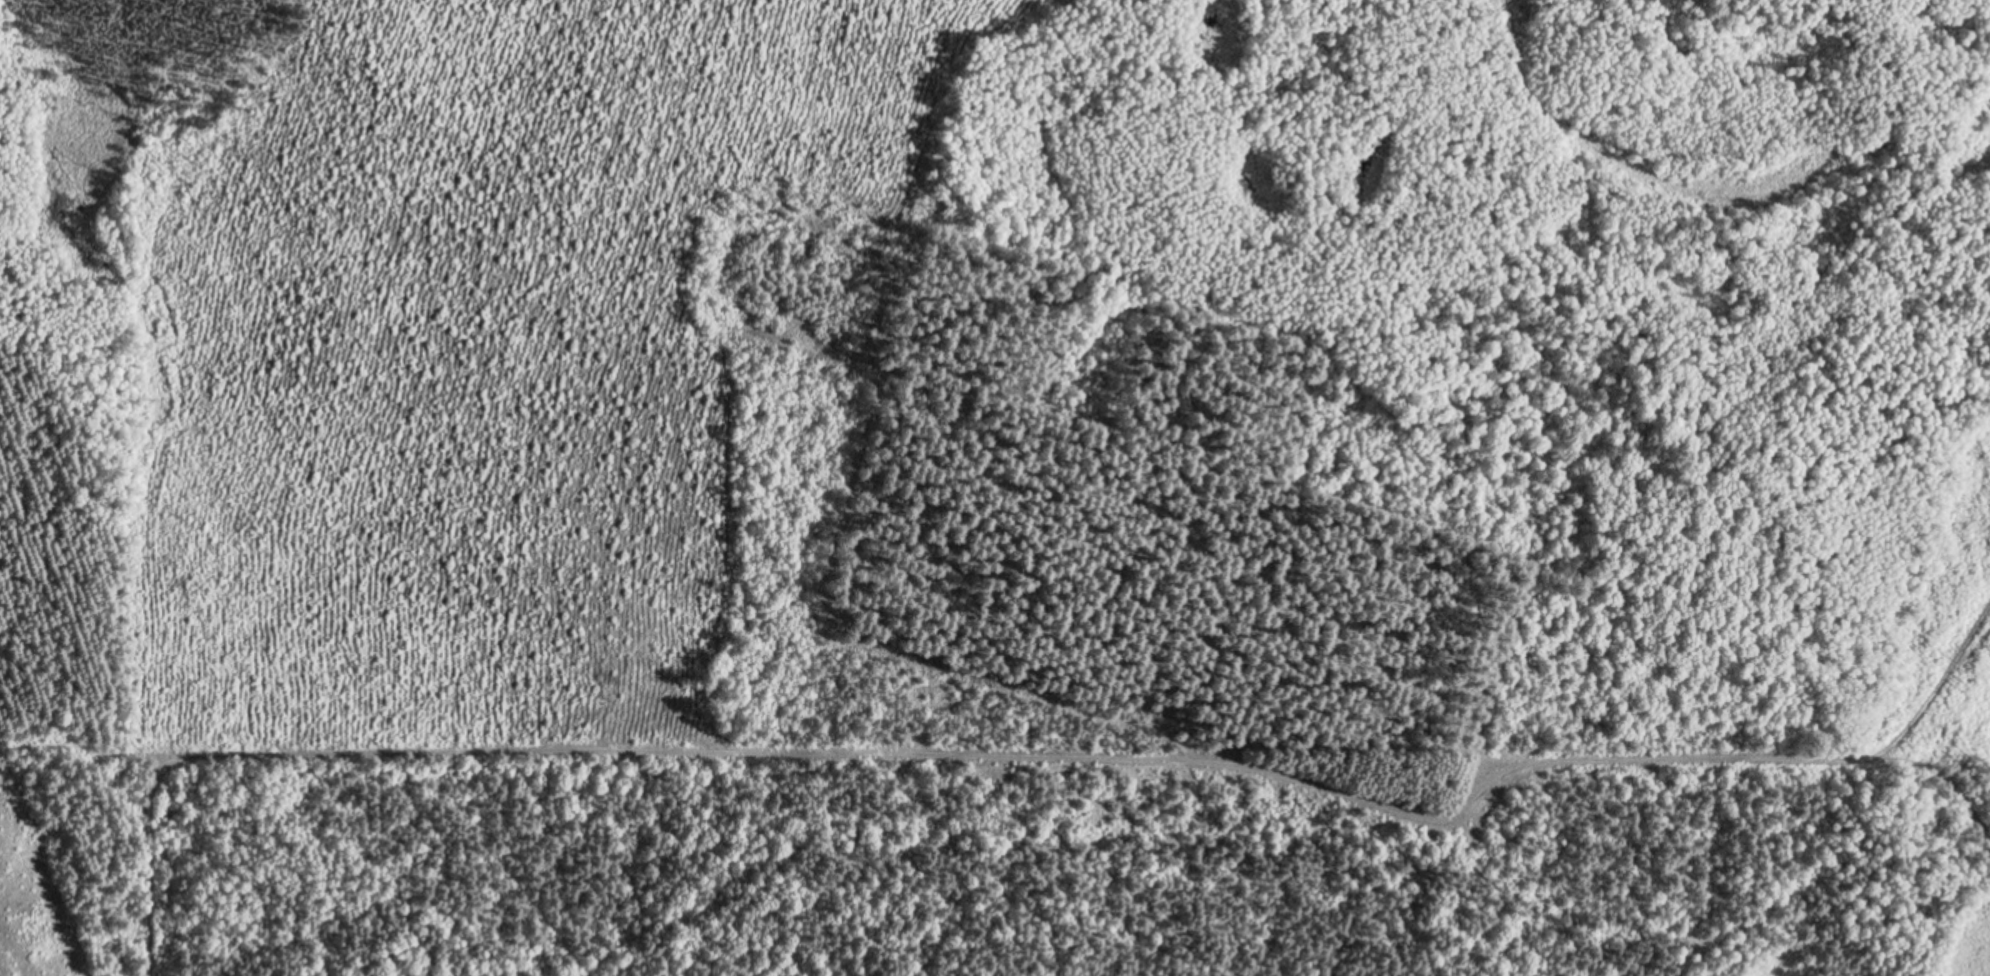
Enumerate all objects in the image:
road: (993, 758)

